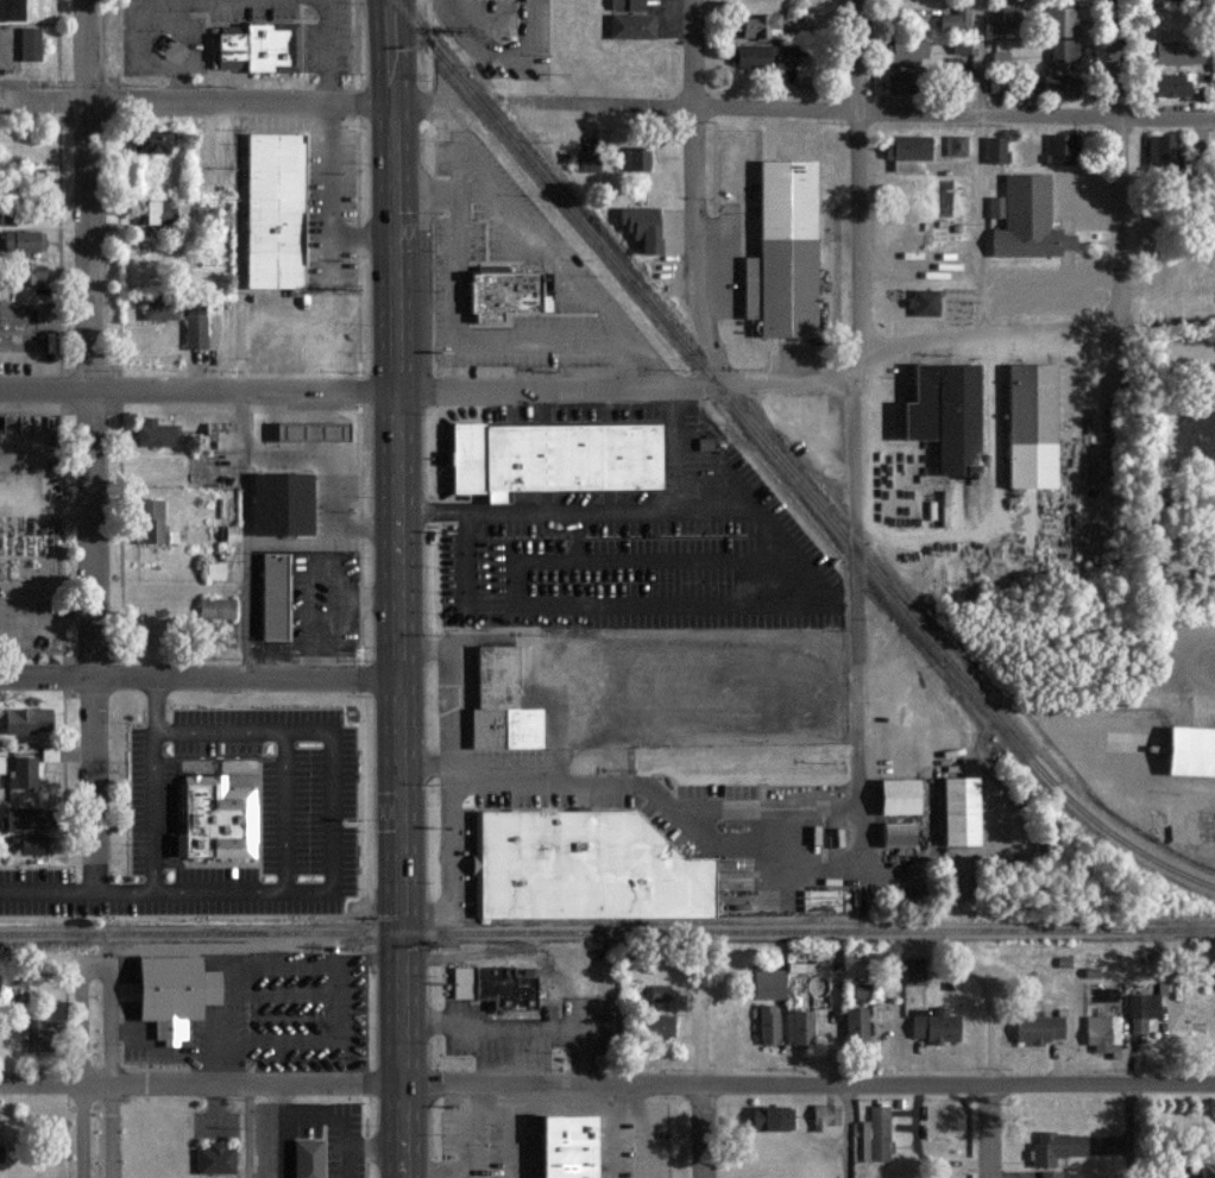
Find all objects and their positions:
building: (1159, 0)
building: (623, 5)
building: (10, 10)
building: (1009, 12)
building: (953, 18)
building: (1060, 21)
building: (629, 26)
building: (757, 26)
building: (27, 43)
building: (258, 50)
building: (902, 50)
road: (502, 52)
building: (1062, 53)
building: (1173, 53)
building: (763, 57)
road: (977, 57)
building: (997, 58)
road: (378, 61)
building: (1211, 61)
building: (1050, 83)
building: (893, 84)
building: (963, 84)
building: (995, 84)
building: (1167, 84)
road: (204, 97)
road: (865, 112)
building: (150, 141)
building: (955, 145)
building: (904, 147)
building: (1059, 149)
building: (994, 150)
building: (1158, 152)
building: (634, 158)
road: (1116, 162)
building: (586, 165)
building: (32, 178)
road: (695, 195)
road: (329, 196)
building: (271, 210)
building: (152, 212)
building: (206, 216)
building: (1024, 218)
road: (978, 225)
building: (637, 227)
building: (21, 240)
building: (783, 251)
building: (27, 273)
building: (502, 296)
building: (921, 302)
building: (158, 308)
building: (194, 322)
road: (329, 344)
road: (611, 385)
railway: (724, 392)
road: (561, 404)
building: (925, 405)
building: (1035, 405)
building: (963, 421)
road: (856, 429)
building: (307, 431)
building: (152, 433)
building: (219, 434)
road: (94, 446)
building: (556, 459)
road: (675, 459)
building: (1035, 468)
building: (284, 503)
road: (448, 509)
building: (944, 512)
road: (483, 514)
road: (622, 515)
road: (448, 518)
building: (150, 523)
building: (231, 533)
road: (245, 534)
road: (773, 536)
road: (315, 542)
road: (651, 561)
road: (468, 568)
building: (215, 571)
road: (415, 588)
road: (517, 591)
building: (272, 596)
road: (682, 605)
road: (524, 606)
building: (214, 607)
road: (48, 613)
road: (495, 619)
road: (382, 650)
road: (207, 679)
building: (499, 703)
road: (157, 705)
building: (24, 722)
road: (248, 731)
building: (1189, 751)
building: (2, 763)
building: (23, 773)
road: (649, 788)
building: (894, 796)
road: (338, 811)
building: (957, 811)
road: (287, 812)
building: (19, 819)
building: (221, 820)
building: (894, 834)
railway: (1128, 843)
building: (24, 845)
road: (455, 852)
building: (590, 867)
road: (169, 893)
road: (99, 964)
building: (912, 978)
building: (768, 983)
building: (496, 987)
building: (860, 990)
building: (659, 993)
building: (1141, 1010)
building: (265, 1013)
building: (767, 1022)
building: (855, 1022)
building: (657, 1025)
building: (933, 1025)
building: (170, 1026)
building: (798, 1026)
building: (1035, 1028)
building: (1101, 1032)
building: (36, 1035)
road: (83, 1070)
road: (113, 1071)
road: (700, 1072)
road: (991, 1078)
road: (607, 1084)
building: (824, 1115)
building: (768, 1116)
road: (250, 1130)
road: (850, 1130)
road: (1133, 1130)
building: (875, 1134)
building: (572, 1147)
building: (1055, 1147)
building: (216, 1159)
building: (309, 1159)
building: (1203, 1170)
building: (1049, 1173)

